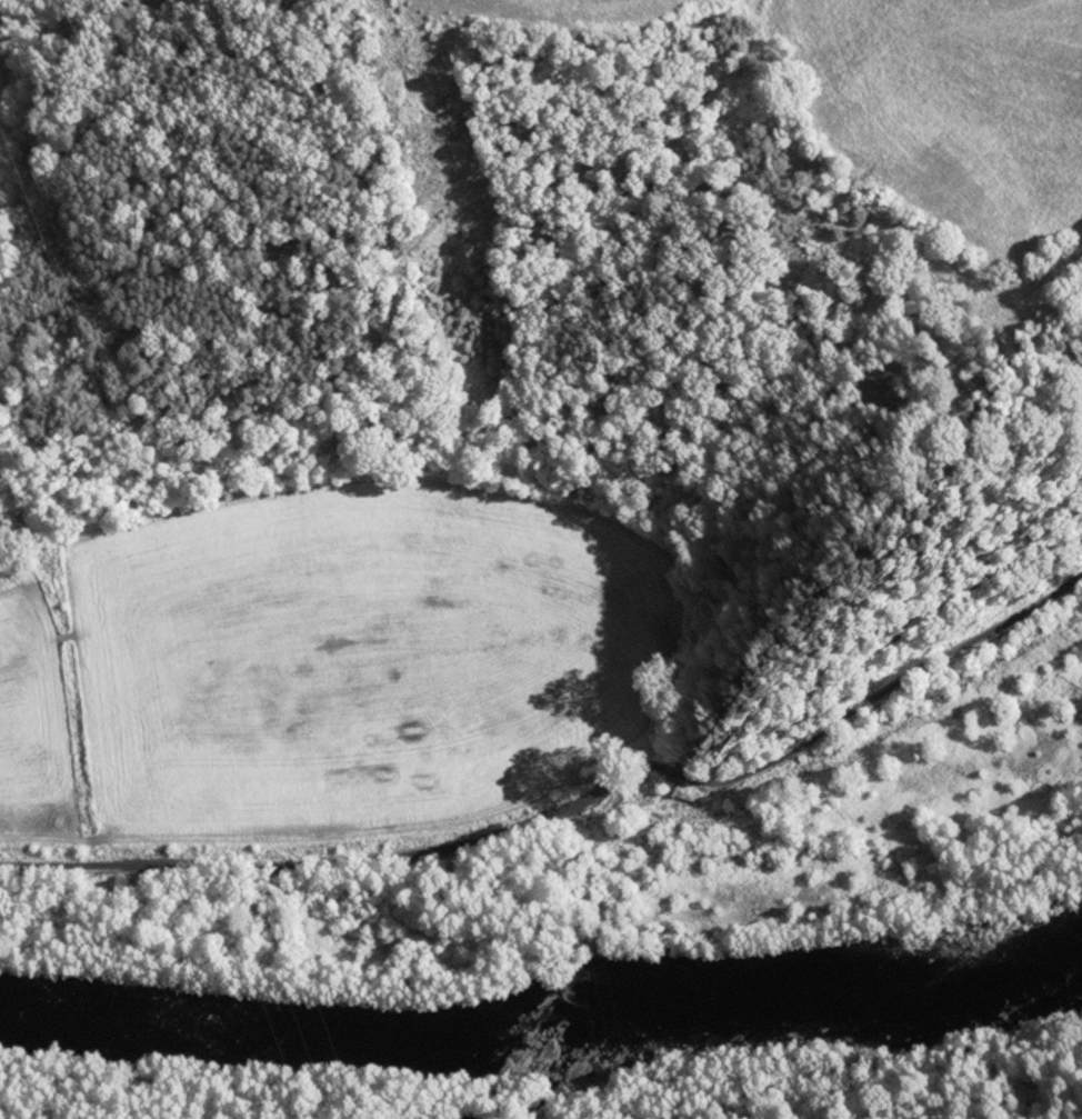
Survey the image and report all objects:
road: (577, 805)
river: (540, 1009)
power tower: (709, 1037)

